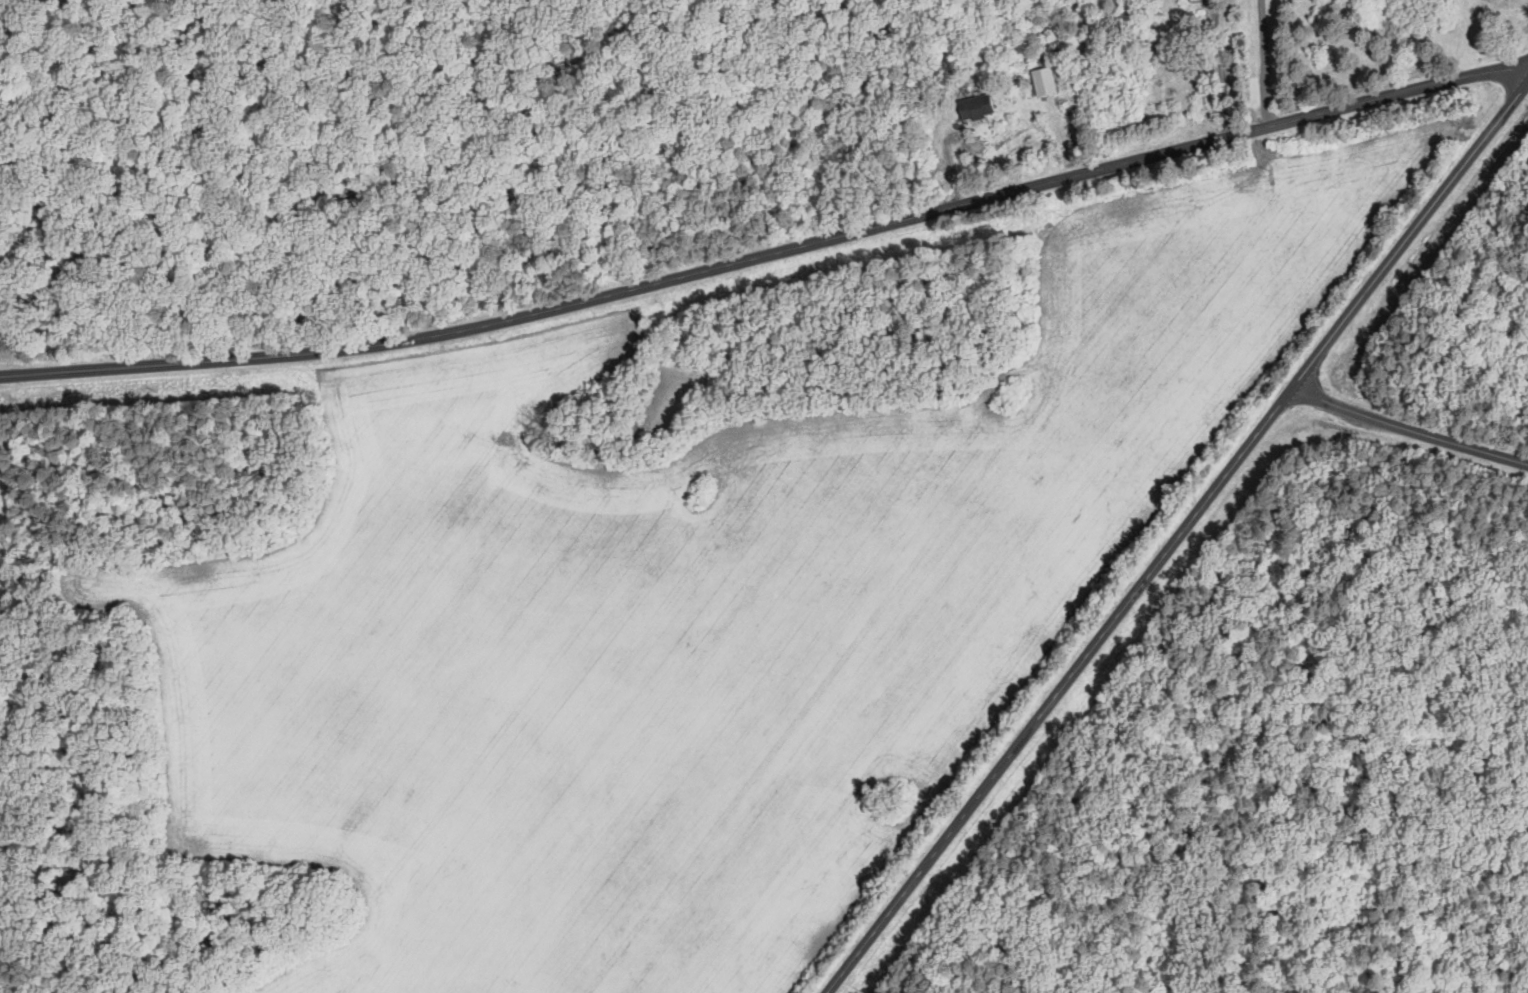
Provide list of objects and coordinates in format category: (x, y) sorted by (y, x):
road: (1265, 63)
road: (1222, 68)
building: (1043, 80)
building: (978, 106)
road: (770, 256)
road: (1409, 426)
road: (1173, 538)

